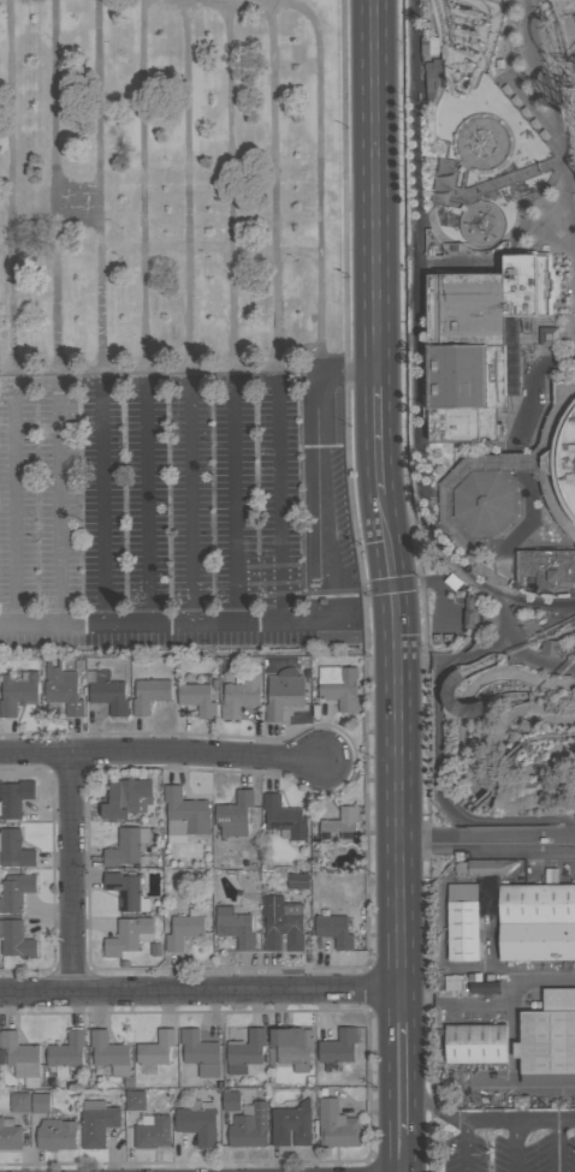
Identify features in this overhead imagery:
building: (485, 0)
building: (429, 47)
street lamp: (250, 49)
street lamp: (121, 50)
building: (433, 78)
street lamp: (499, 89)
road: (99, 93)
street lamp: (509, 100)
street lamp: (517, 112)
street lamp: (527, 123)
road: (539, 123)
road: (529, 126)
road: (316, 127)
street lamp: (346, 127)
street lamp: (537, 135)
building: (482, 144)
street lamp: (546, 145)
street lamp: (555, 159)
building: (461, 169)
street lamp: (553, 175)
road: (275, 178)
road: (509, 180)
road: (12, 183)
road: (57, 184)
road: (143, 184)
street lamp: (546, 184)
road: (377, 185)
parking lot: (168, 186)
road: (188, 186)
road: (230, 188)
street lamp: (534, 192)
street lamp: (526, 206)
building: (463, 209)
building: (487, 209)
building: (479, 213)
building: (484, 214)
building: (488, 216)
building: (492, 216)
building: (485, 218)
building: (470, 220)
street lamp: (522, 220)
building: (472, 224)
building: (482, 225)
building: (473, 226)
street lamp: (251, 227)
building: (466, 227)
street lamp: (121, 228)
building: (472, 230)
building: (496, 230)
building: (487, 231)
building: (492, 232)
building: (472, 233)
street lamp: (517, 233)
building: (487, 236)
building: (484, 238)
building: (493, 238)
street lamp: (207, 255)
road: (407, 255)
street lamp: (297, 261)
road: (450, 261)
road: (100, 278)
street lamp: (348, 278)
building: (530, 285)
road: (564, 287)
road: (521, 320)
road: (523, 320)
road: (532, 329)
building: (549, 337)
road: (559, 343)
road: (529, 344)
road: (530, 345)
street lamp: (574, 346)
road: (411, 351)
road: (417, 352)
road: (332, 353)
railway: (413, 353)
street lamp: (557, 355)
building: (467, 356)
street lamp: (524, 356)
building: (512, 357)
road: (146, 369)
road: (349, 370)
street lamp: (545, 376)
road: (259, 377)
road: (532, 391)
road: (509, 398)
road: (533, 398)
road: (325, 416)
street lamp: (350, 428)
road: (375, 432)
road: (504, 433)
street lamp: (302, 439)
building: (446, 445)
road: (529, 446)
street lamp: (499, 448)
street lamp: (433, 451)
street lamp: (440, 457)
street lamp: (458, 457)
building: (558, 459)
road: (515, 464)
road: (515, 472)
road: (530, 472)
road: (510, 474)
road: (539, 480)
street lamp: (520, 488)
road: (309, 489)
road: (349, 494)
road: (236, 499)
road: (148, 500)
road: (190, 500)
road: (16, 501)
road: (61, 501)
road: (105, 501)
building: (486, 502)
building: (446, 507)
street lamp: (540, 511)
road: (551, 514)
parking lot: (177, 516)
theme park: (499, 525)
road: (524, 528)
road: (535, 535)
street lamp: (502, 539)
road: (332, 540)
building: (526, 540)
street lamp: (37, 542)
road: (520, 548)
road: (511, 552)
street lamp: (510, 554)
building: (546, 563)
building: (515, 570)
street lamp: (416, 575)
building: (452, 582)
road: (425, 583)
road: (452, 583)
road: (396, 585)
toll booth: (313, 588)
street lamp: (510, 588)
road: (366, 589)
road: (503, 589)
road: (479, 593)
road: (460, 597)
street lamp: (367, 599)
road: (503, 600)
road: (470, 601)
toll booth: (467, 602)
road: (479, 608)
road: (444, 611)
building: (470, 613)
road: (557, 617)
road: (325, 620)
toll booth: (467, 621)
road: (470, 621)
road: (488, 621)
road: (156, 623)
road: (543, 635)
road: (544, 637)
street lamp: (41, 638)
building: (446, 638)
building: (437, 639)
road: (472, 639)
road: (505, 639)
road: (520, 644)
street lamp: (302, 647)
road: (571, 647)
building: (552, 648)
street lamp: (126, 649)
street lamp: (214, 649)
road: (522, 653)
road: (417, 668)
fountain: (500, 685)
building: (338, 686)
fountain: (494, 688)
fountain: (488, 689)
building: (63, 690)
building: (517, 690)
building: (17, 692)
building: (107, 692)
building: (283, 694)
building: (450, 695)
building: (149, 696)
building: (241, 696)
building: (197, 700)
building: (524, 725)
road: (545, 736)
road: (397, 738)
road: (159, 752)
road: (506, 757)
road: (336, 758)
road: (361, 758)
street lamp: (372, 762)
road: (534, 785)
road: (498, 787)
road: (439, 792)
building: (14, 798)
building: (126, 798)
building: (516, 804)
road: (458, 809)
building: (235, 814)
building: (184, 815)
building: (285, 819)
building: (339, 827)
road: (540, 833)
road: (427, 840)
building: (541, 841)
road: (455, 844)
road: (573, 844)
building: (125, 847)
road: (541, 849)
building: (13, 850)
street lamp: (496, 856)
road: (71, 873)
building: (298, 881)
building: (486, 882)
building: (16, 892)
building: (126, 892)
building: (463, 923)
building: (538, 923)
building: (281, 924)
building: (235, 927)
building: (184, 929)
building: (334, 930)
building: (128, 936)
building: (16, 940)
building: (454, 983)
road: (200, 990)
road: (498, 1015)
building: (549, 1036)
building: (476, 1045)
building: (292, 1047)
building: (338, 1049)
building: (154, 1052)
building: (66, 1053)
building: (200, 1053)
building: (247, 1053)
building: (109, 1054)
building: (20, 1058)
road: (411, 1077)
road: (387, 1078)
building: (128, 1082)
building: (135, 1101)
building: (19, 1102)
building: (231, 1102)
building: (40, 1103)
road: (434, 1113)
building: (96, 1123)
building: (197, 1123)
road: (491, 1124)
road: (544, 1124)
building: (291, 1125)
building: (336, 1125)
building: (249, 1126)
building: (152, 1131)
building: (57, 1135)
building: (10, 1137)
parking lot: (514, 1142)
road: (562, 1147)
road: (469, 1148)
road: (514, 1148)

